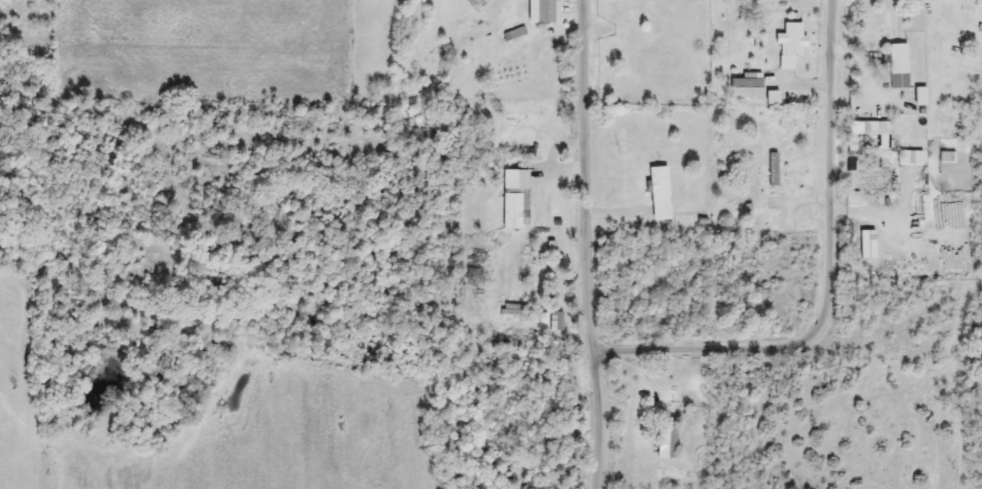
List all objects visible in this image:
building: (789, 5)
building: (613, 8)
building: (629, 34)
building: (791, 46)
building: (896, 66)
building: (870, 131)
building: (907, 158)
building: (771, 170)
building: (655, 185)
road: (584, 245)
building: (533, 276)
road: (829, 282)
building: (664, 440)

